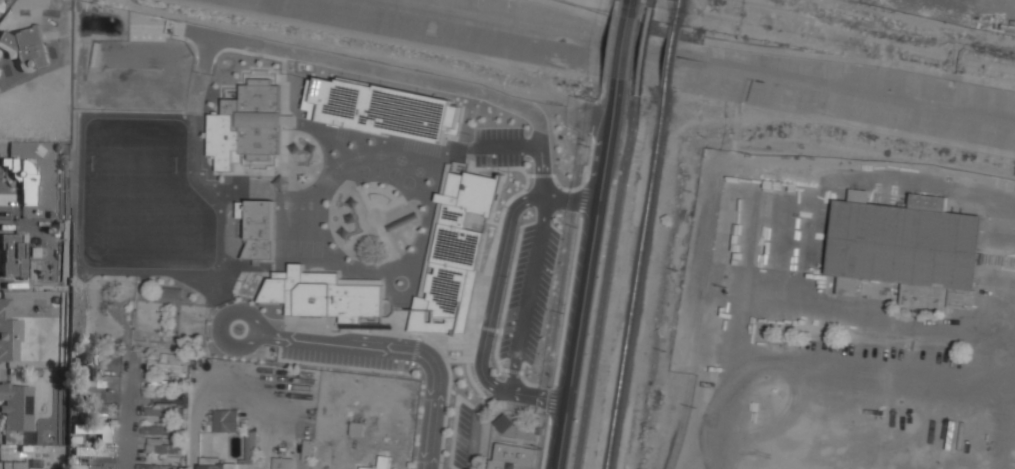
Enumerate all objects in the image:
building: (1, 5)
road: (628, 6)
road: (645, 10)
railway: (678, 14)
road: (642, 30)
road: (640, 41)
building: (25, 47)
road: (621, 49)
road: (773, 52)
road: (639, 53)
railway: (671, 58)
building: (382, 108)
building: (257, 118)
building: (289, 119)
building: (22, 178)
building: (242, 208)
building: (342, 217)
building: (478, 237)
building: (907, 250)
building: (13, 255)
road: (606, 265)
road: (585, 277)
railway: (637, 278)
building: (462, 285)
building: (173, 292)
building: (326, 295)
building: (508, 309)
building: (431, 311)
building: (455, 311)
building: (8, 332)
building: (440, 341)
building: (486, 355)
building: (409, 361)
building: (168, 363)
building: (158, 384)
building: (92, 385)
building: (435, 389)
building: (16, 406)
building: (92, 409)
building: (165, 409)
building: (430, 413)
building: (460, 417)
building: (226, 421)
road: (131, 423)
building: (504, 423)
building: (93, 428)
building: (357, 428)
building: (161, 430)
building: (166, 448)
building: (307, 449)
building: (426, 449)
building: (95, 451)
building: (455, 455)
building: (512, 455)
building: (216, 463)
building: (284, 463)
building: (379, 463)
building: (13, 465)
building: (158, 466)
building: (96, 467)
building: (422, 467)

